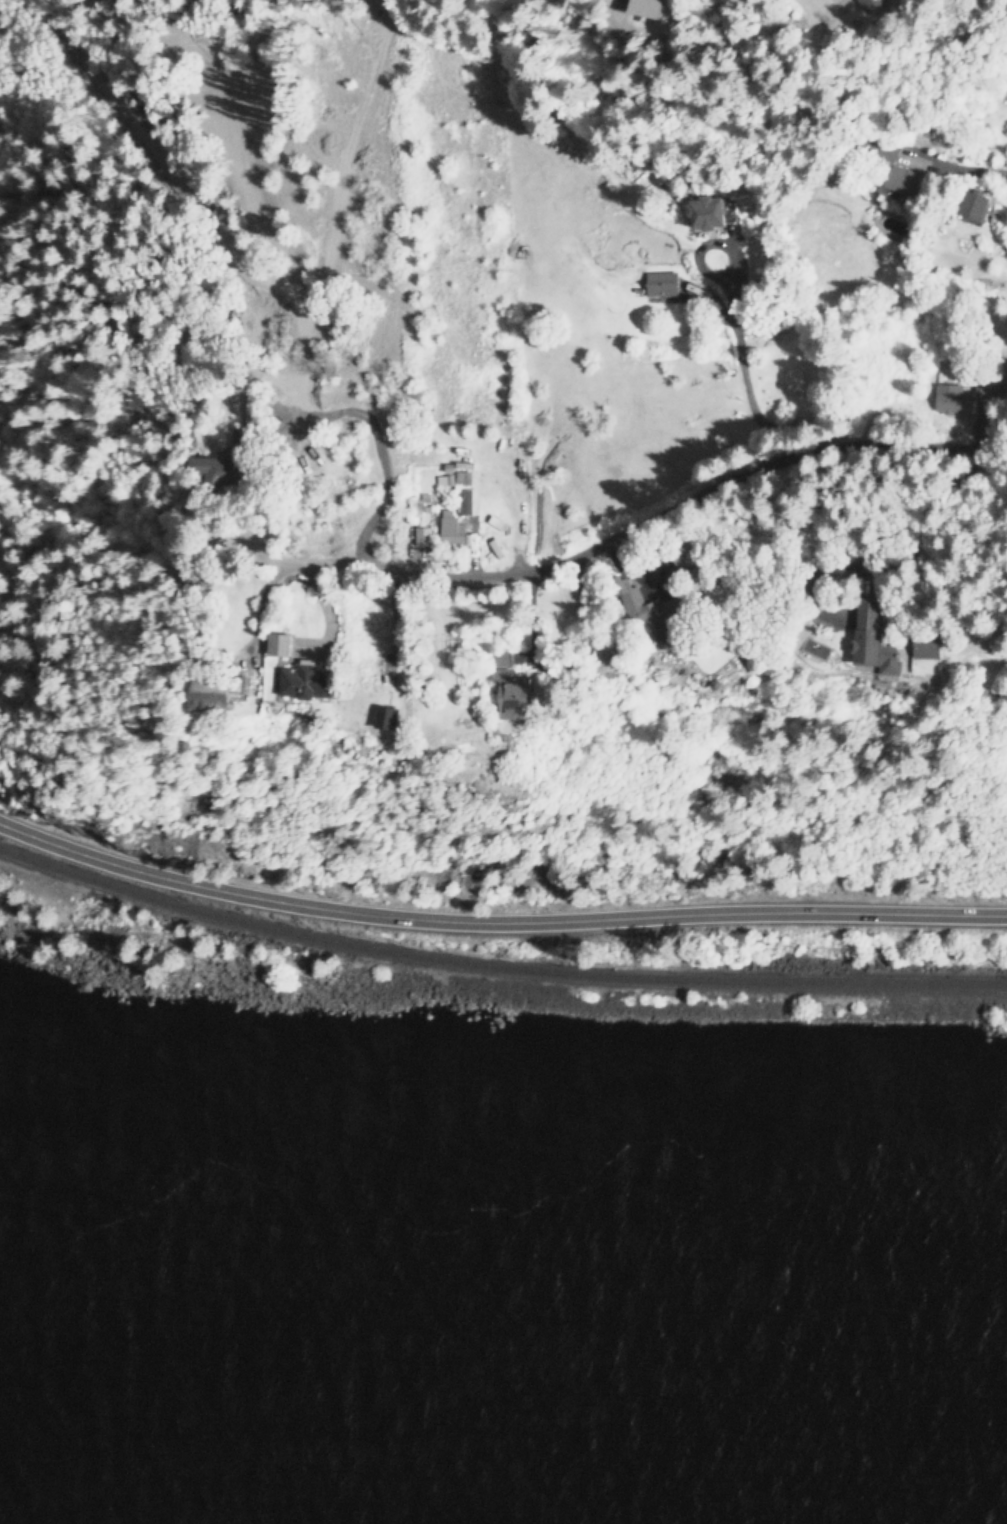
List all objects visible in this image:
road: (648, 519)
building: (303, 681)
building: (213, 700)
building: (386, 717)
railway: (160, 889)
road: (497, 921)
railway: (496, 965)

